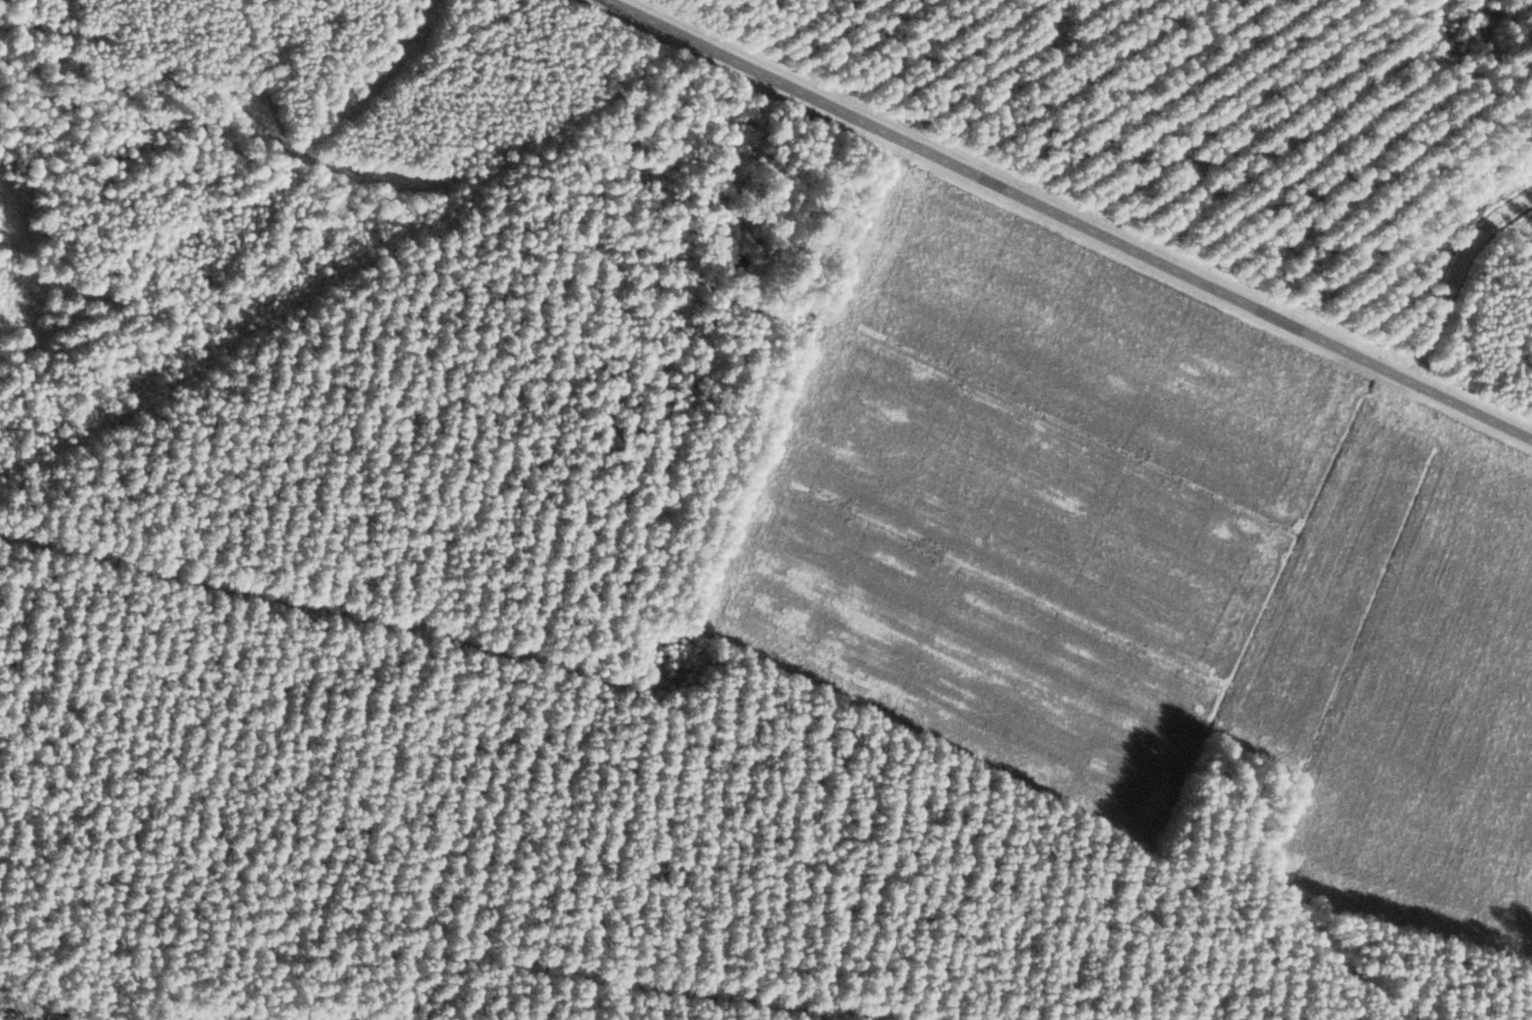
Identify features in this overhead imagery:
road: (1067, 221)

